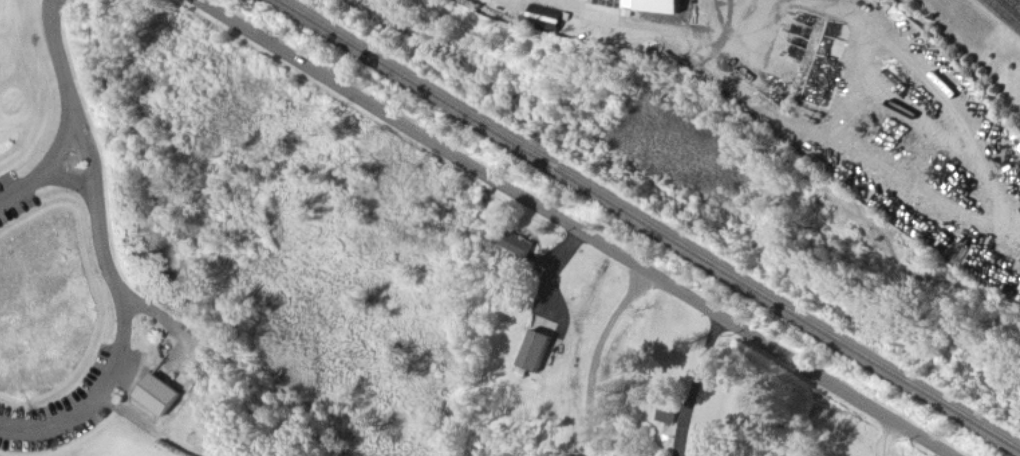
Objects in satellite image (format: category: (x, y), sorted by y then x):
road: (1000, 2)
building: (653, 4)
road: (1007, 11)
road: (56, 48)
road: (47, 173)
road: (69, 181)
parking lot: (16, 197)
railway: (651, 223)
road: (576, 226)
building: (522, 248)
park: (203, 251)
road: (124, 313)
road: (175, 327)
building: (535, 352)
road: (589, 353)
road: (696, 382)
building: (161, 395)
parking lot: (70, 406)
building: (671, 413)
road: (150, 432)
road: (886, 436)
road: (90, 439)

